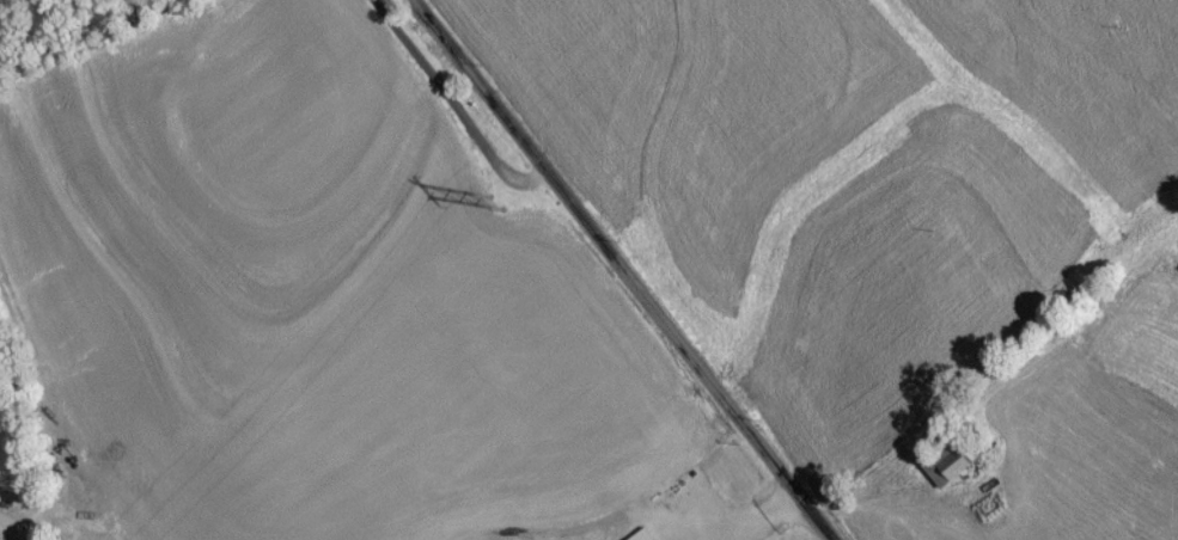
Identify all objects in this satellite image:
road: (453, 109)
power tower: (498, 209)
road: (627, 268)
building: (951, 467)
road: (767, 527)
building: (646, 538)

